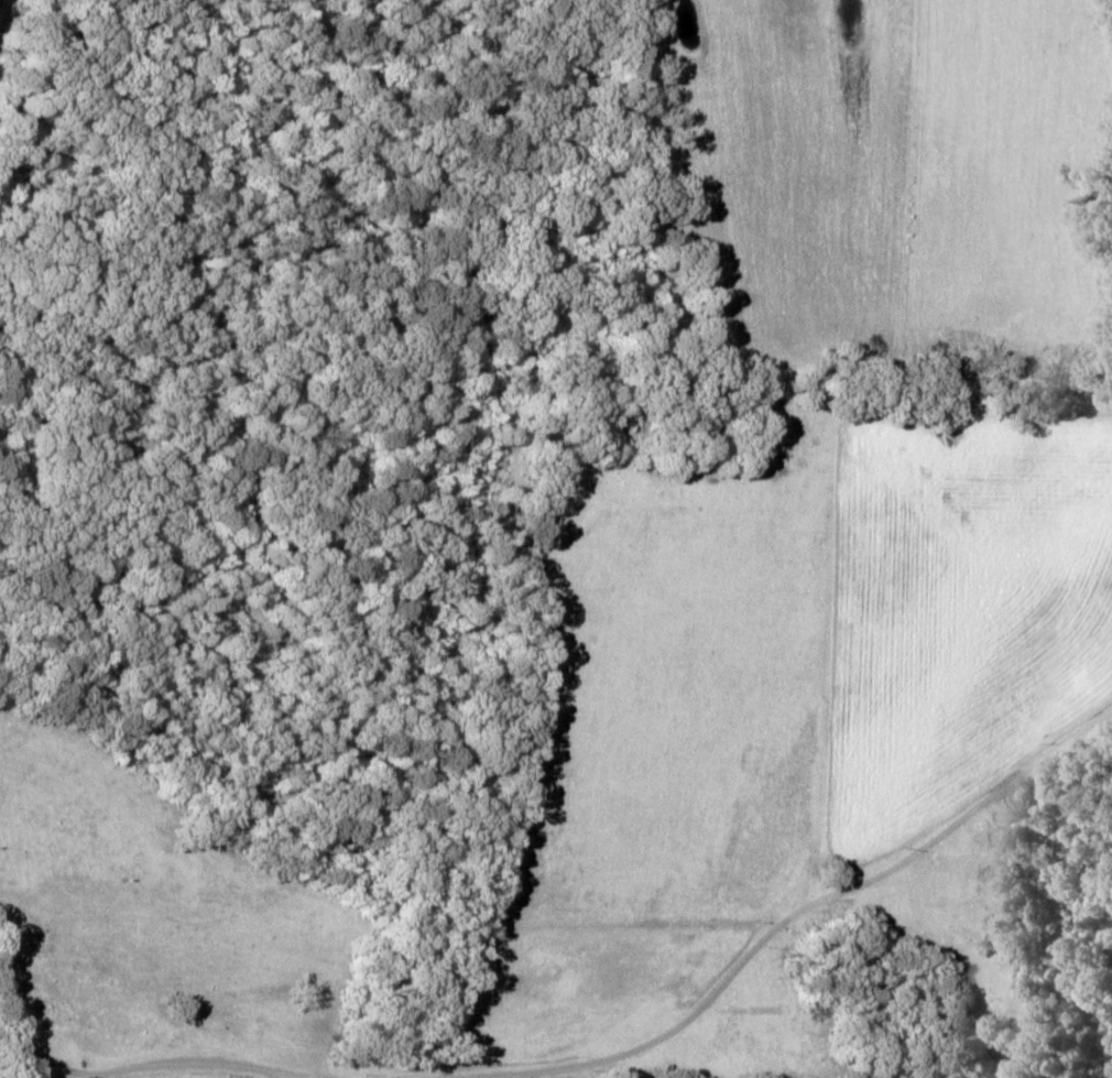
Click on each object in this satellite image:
road: (9, 31)

